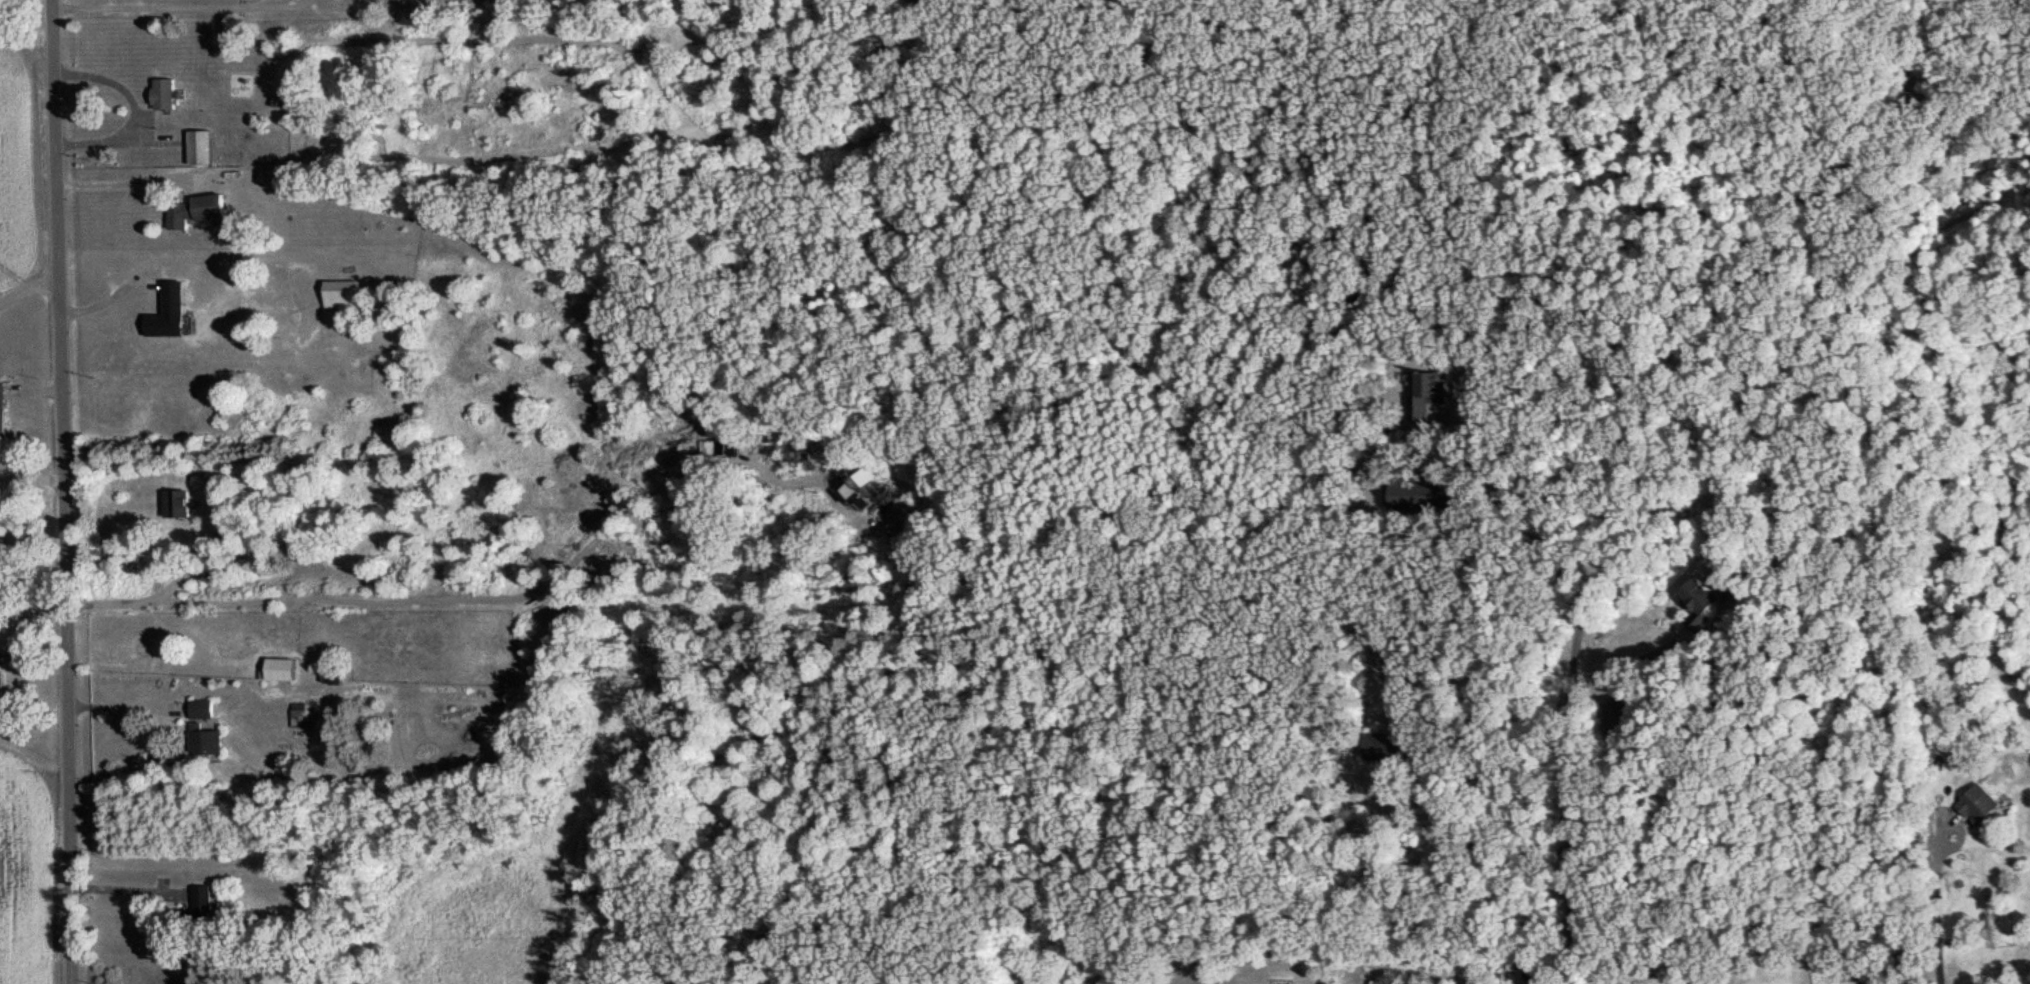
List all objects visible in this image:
road: (162, 7)
building: (165, 93)
road: (134, 110)
building: (200, 145)
road: (128, 181)
building: (195, 209)
road: (27, 290)
building: (340, 292)
building: (167, 311)
building: (1426, 393)
building: (1, 404)
road: (29, 474)
building: (856, 486)
road: (59, 491)
building: (1422, 492)
building: (175, 502)
road: (1532, 528)
road: (430, 596)
building: (1698, 601)
road: (1629, 662)
building: (280, 668)
building: (1, 687)
road: (117, 706)
building: (201, 707)
building: (299, 713)
building: (1616, 717)
building: (205, 739)
building: (1382, 747)
building: (1978, 803)
road: (1568, 812)
crop: (17, 865)
road: (121, 890)
building: (203, 901)
road: (1929, 906)

